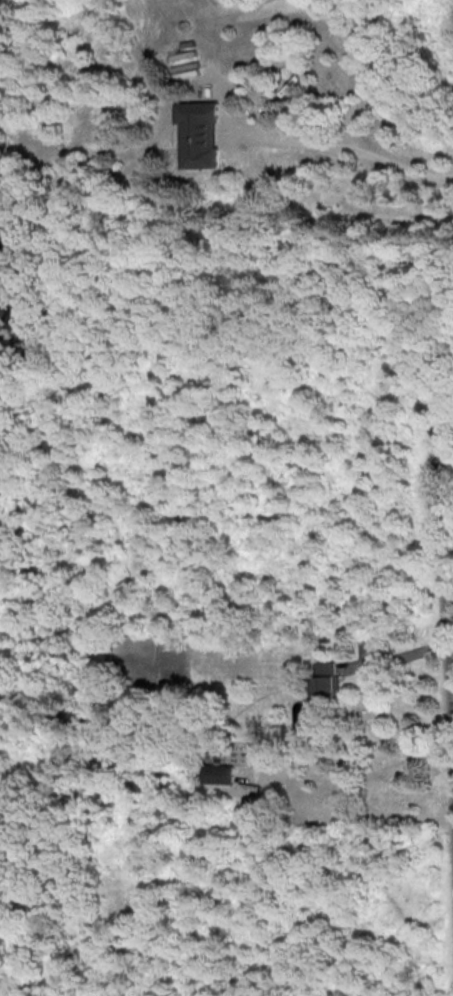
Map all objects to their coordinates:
road: (341, 146)
road: (444, 477)
road: (441, 570)
road: (448, 605)
road: (449, 644)
road: (394, 655)
building: (329, 678)
building: (221, 773)

